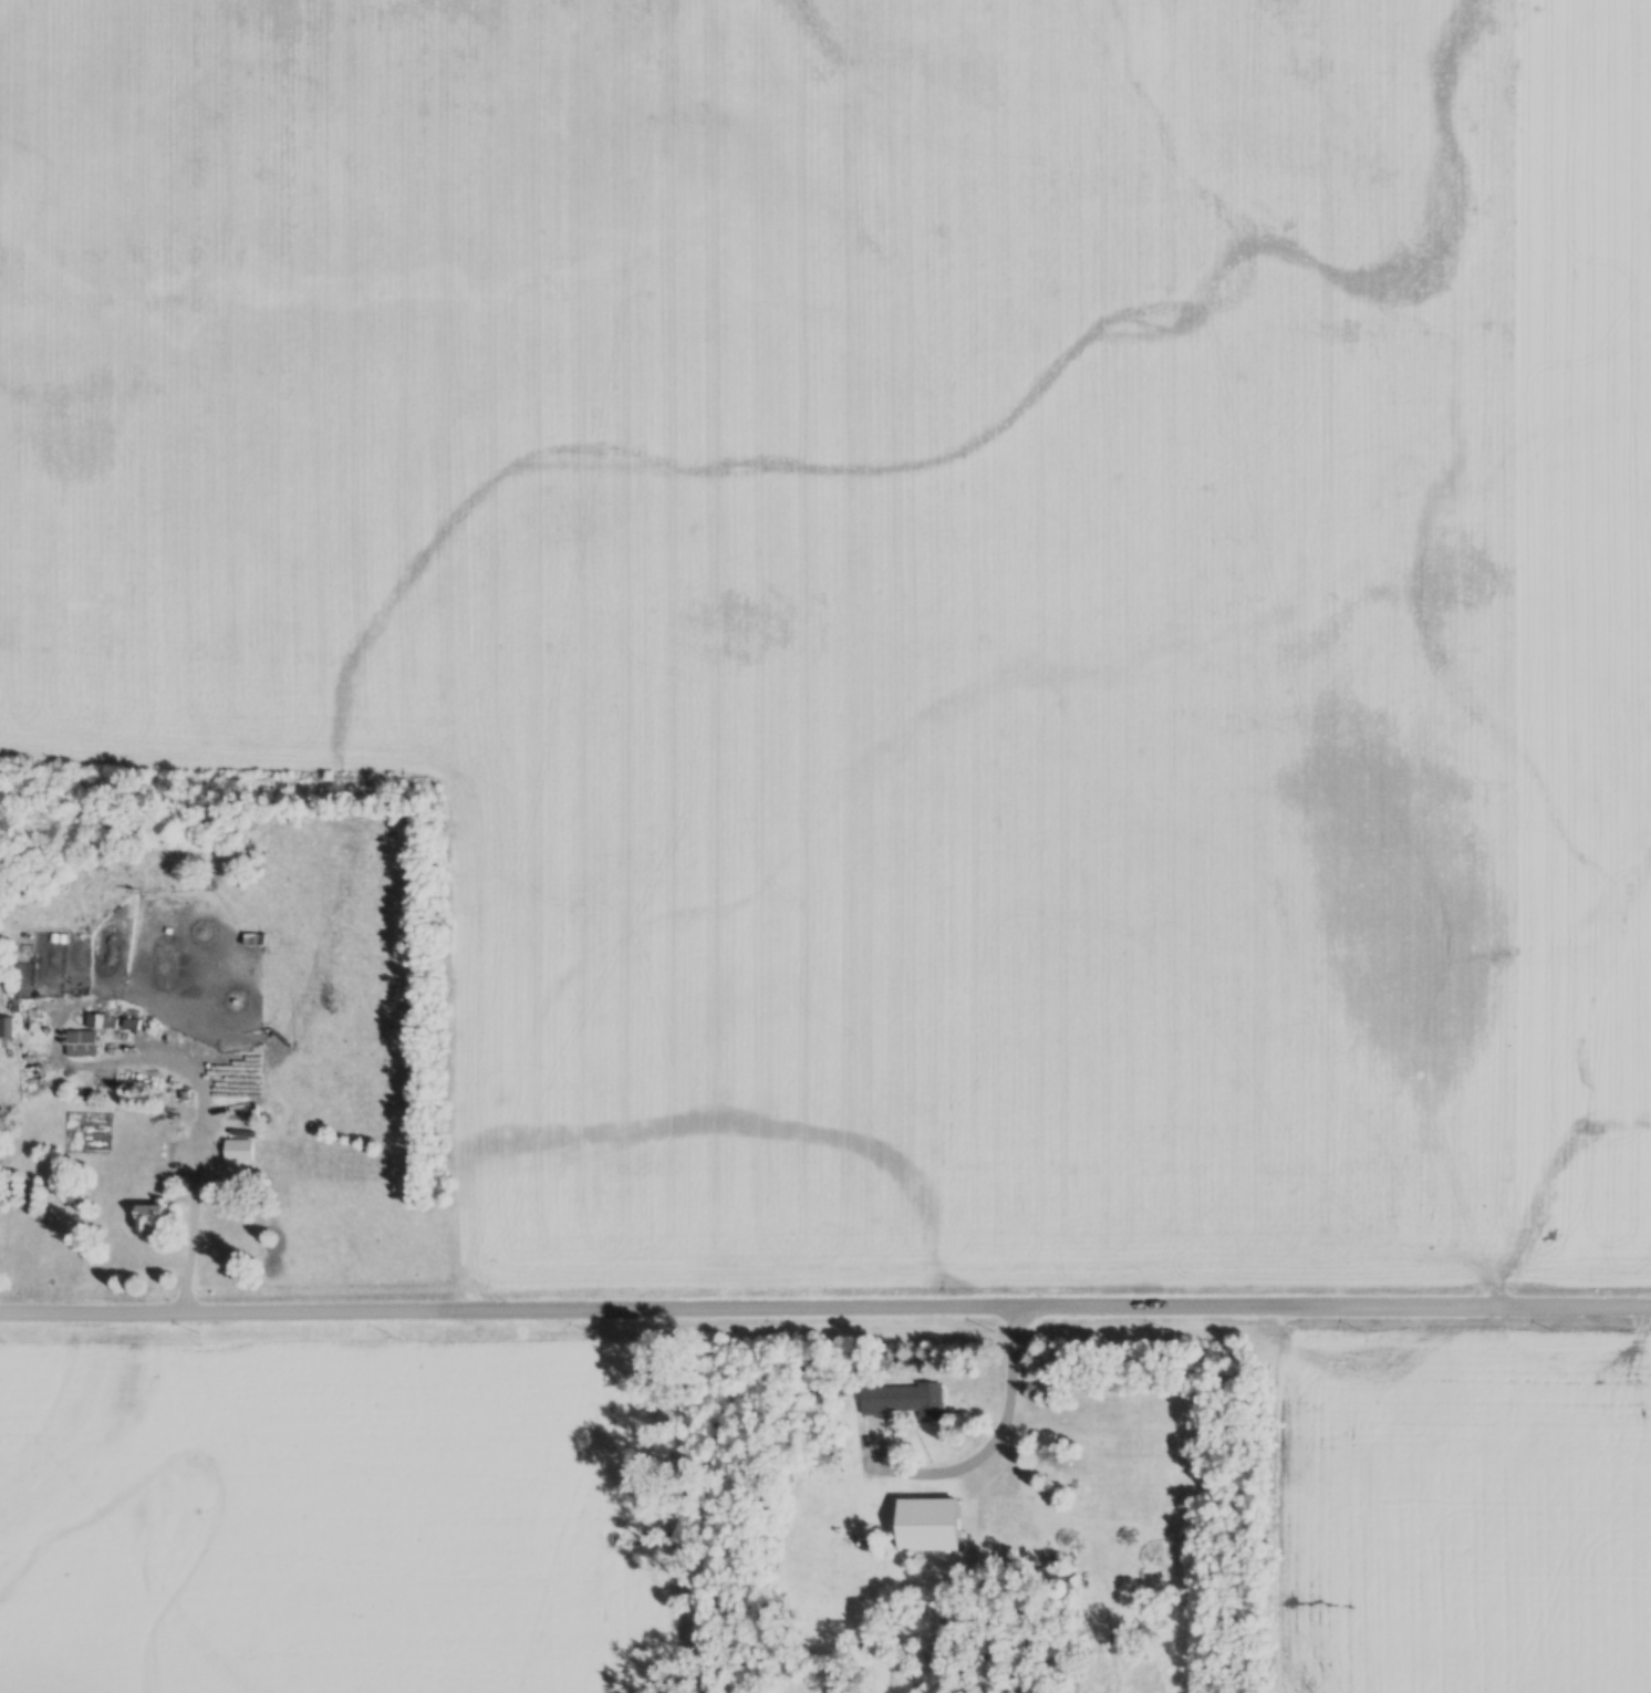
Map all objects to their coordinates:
building: (253, 938)
building: (90, 1020)
building: (7, 1027)
building: (79, 1043)
building: (233, 1150)
building: (147, 1217)
road: (825, 1307)
building: (902, 1400)
building: (926, 1521)
building: (1051, 1587)

